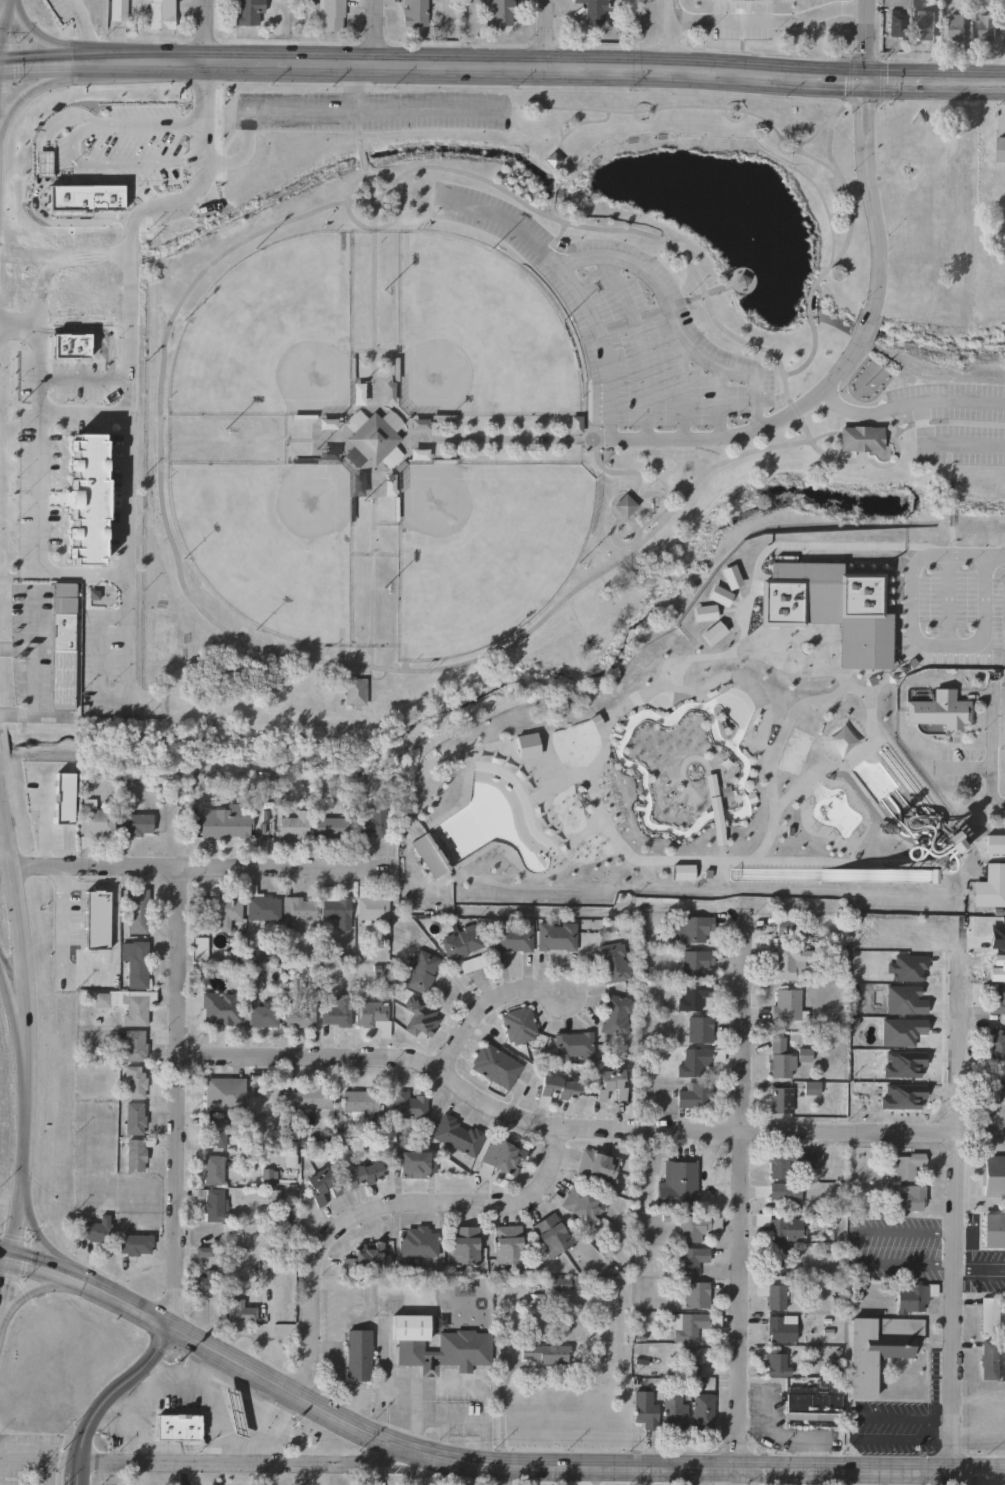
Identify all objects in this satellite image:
road: (2, 3)
building: (117, 10)
building: (592, 11)
building: (248, 12)
building: (500, 12)
building: (413, 13)
building: (160, 14)
building: (329, 15)
road: (768, 19)
building: (896, 23)
building: (923, 24)
building: (954, 26)
road: (82, 27)
building: (986, 27)
road: (211, 31)
road: (376, 31)
road: (547, 33)
road: (667, 33)
road: (6, 36)
road: (867, 38)
road: (55, 44)
road: (502, 65)
traffic signals: (1, 73)
traffic signals: (866, 77)
road: (0, 78)
road: (42, 84)
road: (354, 87)
road: (652, 110)
parking lot: (371, 111)
road: (371, 111)
road: (532, 118)
road: (731, 120)
road: (561, 121)
road: (642, 122)
road: (813, 135)
road: (555, 147)
building: (1000, 149)
road: (612, 153)
road: (783, 154)
road: (815, 159)
road: (362, 169)
road: (499, 176)
road: (572, 177)
road: (903, 184)
road: (843, 188)
road: (552, 189)
road: (815, 192)
road: (868, 193)
road: (377, 205)
road: (615, 216)
road: (390, 221)
road: (839, 223)
fountain: (751, 226)
road: (484, 233)
road: (637, 233)
road: (177, 277)
building: (740, 280)
pier: (740, 280)
road: (570, 284)
road: (696, 296)
road: (663, 301)
road: (806, 305)
road: (372, 307)
road: (568, 320)
road: (865, 324)
parking lot: (624, 326)
park: (475, 336)
park: (267, 337)
road: (638, 345)
road: (808, 358)
road: (900, 366)
road: (945, 380)
park: (534, 381)
flagpole: (862, 385)
road: (680, 386)
road: (837, 391)
road: (777, 395)
road: (960, 401)
road: (717, 404)
road: (753, 405)
road: (905, 405)
road: (80, 412)
road: (853, 413)
road: (859, 420)
parking lot: (952, 422)
building: (575, 424)
road: (751, 431)
road: (823, 434)
road: (886, 438)
building: (370, 440)
road: (507, 440)
building: (860, 440)
road: (941, 445)
road: (405, 451)
building: (417, 454)
road: (603, 456)
road: (859, 457)
road: (947, 461)
road: (646, 464)
road: (875, 465)
road: (615, 472)
road: (657, 479)
road: (125, 483)
road: (641, 495)
road: (949, 502)
building: (86, 505)
building: (623, 505)
road: (144, 515)
road: (663, 517)
road: (642, 524)
park: (266, 545)
road: (657, 545)
park: (481, 552)
road: (994, 555)
road: (369, 572)
building: (730, 576)
road: (603, 584)
road: (737, 594)
building: (718, 595)
road: (947, 599)
road: (732, 603)
parking lot: (953, 604)
building: (829, 607)
road: (724, 610)
building: (703, 612)
road: (574, 617)
road: (728, 620)
building: (712, 632)
park: (159, 635)
road: (213, 638)
road: (918, 640)
road: (125, 644)
building: (62, 646)
road: (15, 648)
road: (265, 653)
road: (31, 654)
road: (339, 657)
road: (294, 664)
road: (368, 673)
road: (372, 678)
road: (879, 683)
road: (692, 690)
building: (353, 692)
road: (868, 700)
building: (938, 709)
road: (15, 715)
road: (602, 730)
water park: (749, 748)
road: (483, 749)
park: (792, 751)
road: (993, 753)
road: (970, 765)
road: (706, 771)
road: (665, 779)
road: (670, 781)
road: (678, 797)
road: (669, 799)
road: (686, 801)
road: (44, 818)
building: (94, 821)
building: (223, 822)
building: (370, 823)
building: (135, 825)
building: (293, 826)
building: (329, 827)
road: (766, 839)
road: (851, 839)
building: (947, 839)
building: (994, 844)
road: (921, 858)
road: (648, 859)
road: (196, 863)
road: (58, 875)
building: (925, 875)
road: (85, 887)
building: (260, 905)
building: (370, 907)
building: (298, 908)
building: (136, 910)
building: (223, 911)
building: (335, 911)
road: (111, 916)
building: (785, 927)
building: (692, 928)
building: (555, 935)
building: (512, 937)
building: (460, 941)
building: (198, 948)
road: (59, 953)
building: (785, 961)
building: (613, 962)
building: (694, 962)
building: (419, 970)
building: (252, 982)
building: (692, 996)
building: (997, 1001)
road: (483, 1002)
building: (785, 1005)
building: (218, 1008)
building: (614, 1014)
road: (28, 1015)
building: (334, 1015)
building: (372, 1015)
building: (259, 1016)
building: (419, 1016)
building: (299, 1018)
road: (15, 1024)
building: (518, 1025)
building: (698, 1029)
building: (133, 1044)
building: (996, 1044)
building: (572, 1046)
building: (802, 1055)
building: (780, 1060)
building: (692, 1061)
building: (494, 1065)
building: (134, 1082)
building: (609, 1082)
building: (816, 1087)
building: (557, 1088)
building: (998, 1091)
building: (223, 1093)
road: (178, 1095)
building: (692, 1095)
building: (305, 1098)
building: (779, 1100)
building: (359, 1104)
building: (409, 1105)
building: (133, 1118)
road: (582, 1128)
building: (457, 1135)
building: (217, 1137)
building: (135, 1155)
building: (499, 1157)
building: (787, 1161)
building: (414, 1163)
building: (905, 1165)
building: (596, 1167)
building: (211, 1169)
building: (362, 1174)
building: (993, 1175)
building: (676, 1183)
building: (319, 1185)
road: (738, 1189)
building: (783, 1193)
building: (908, 1198)
building: (211, 1204)
building: (581, 1206)
road: (381, 1207)
building: (689, 1228)
road: (953, 1228)
building: (96, 1230)
building: (992, 1230)
building: (785, 1231)
building: (550, 1234)
building: (415, 1241)
road: (41, 1242)
building: (133, 1242)
building: (507, 1244)
building: (463, 1245)
road: (852, 1245)
parking lot: (894, 1248)
traffic signals: (13, 1253)
building: (367, 1256)
building: (689, 1260)
parking lot: (979, 1261)
building: (776, 1263)
road: (979, 1270)
road: (6, 1284)
building: (559, 1285)
road: (42, 1286)
building: (204, 1286)
building: (694, 1294)
building: (771, 1295)
building: (912, 1298)
building: (239, 1312)
building: (989, 1315)
building: (692, 1325)
building: (780, 1327)
building: (463, 1346)
building: (877, 1348)
building: (544, 1354)
building: (357, 1355)
building: (694, 1355)
building: (988, 1359)
building: (772, 1360)
road: (186, 1364)
road: (451, 1384)
building: (226, 1385)
road: (106, 1395)
road: (141, 1402)
road: (208, 1402)
building: (812, 1402)
parking lot: (764, 1404)
building: (644, 1409)
building: (674, 1409)
building: (701, 1409)
road: (445, 1421)
road: (254, 1424)
road: (752, 1424)
road: (852, 1424)
building: (180, 1426)
road: (939, 1432)
road: (770, 1433)
road: (132, 1443)
road: (40, 1452)
road: (259, 1463)
road: (478, 1464)
road: (690, 1476)

